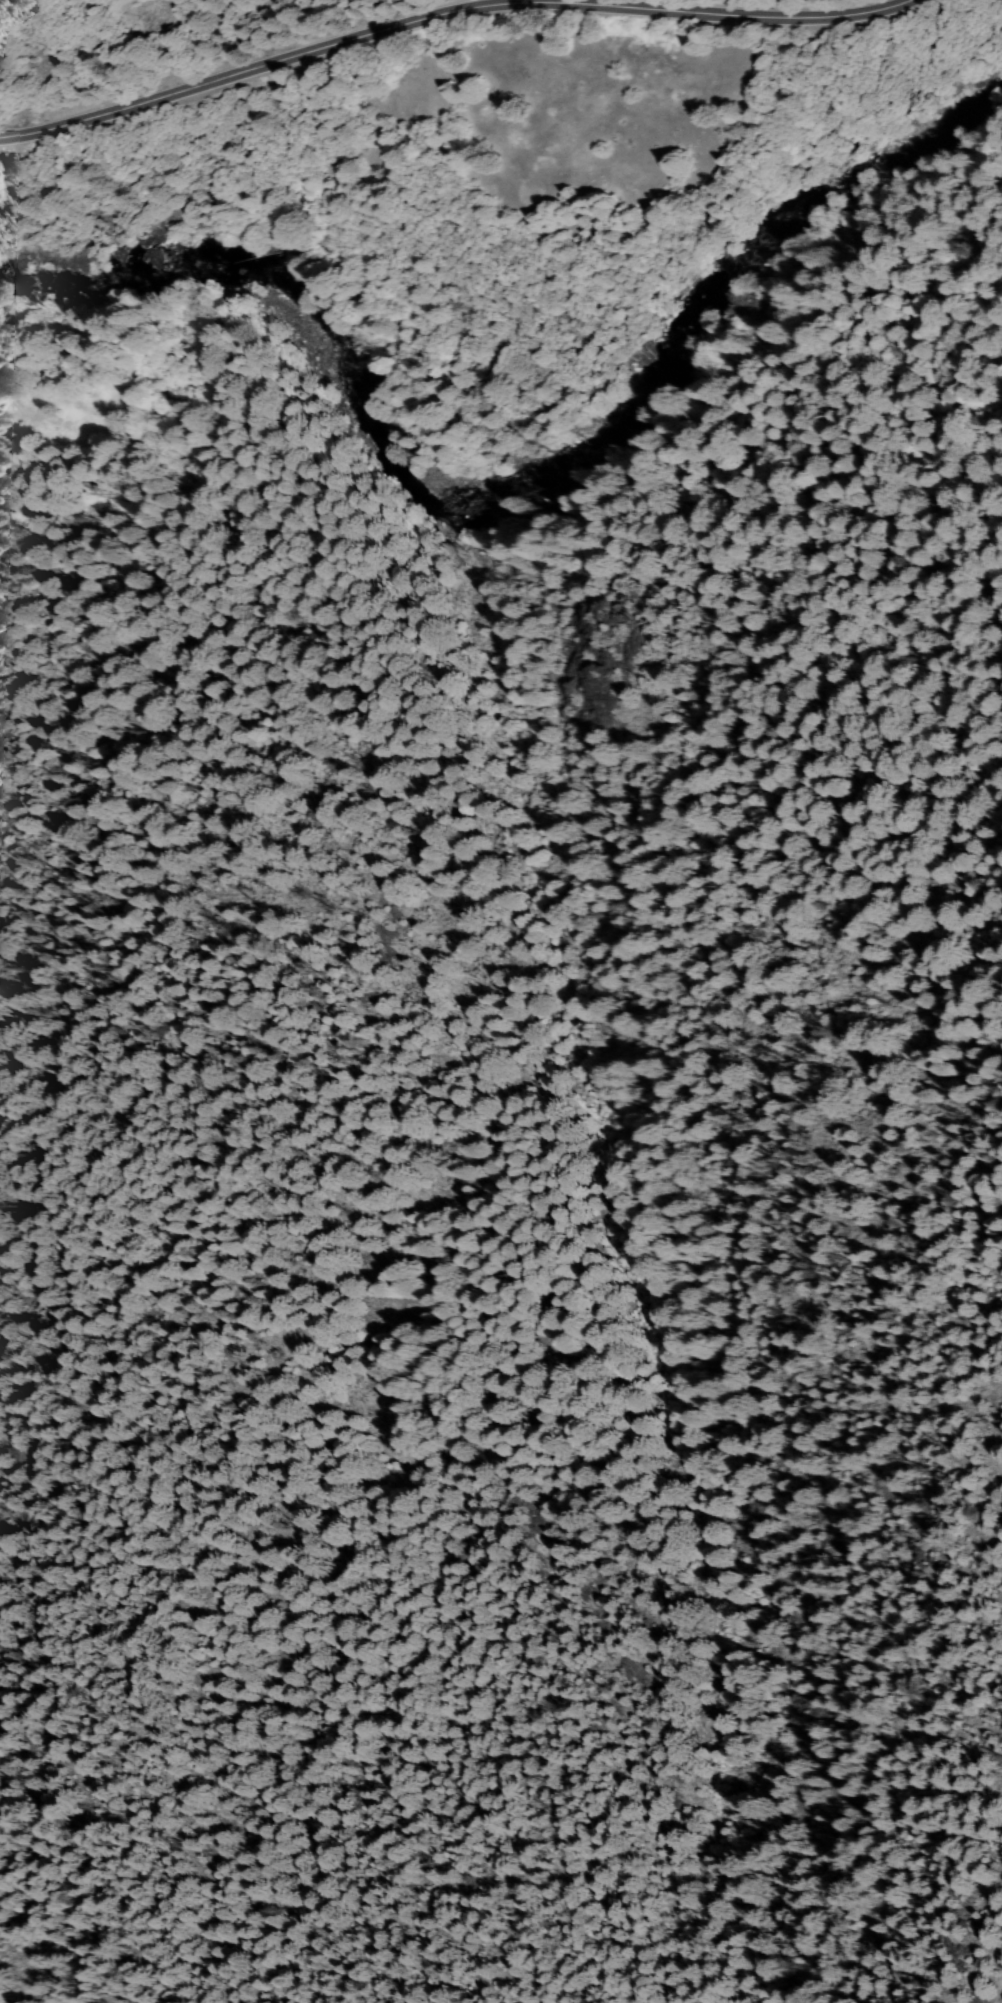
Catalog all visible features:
road: (441, 14)
river: (533, 456)

